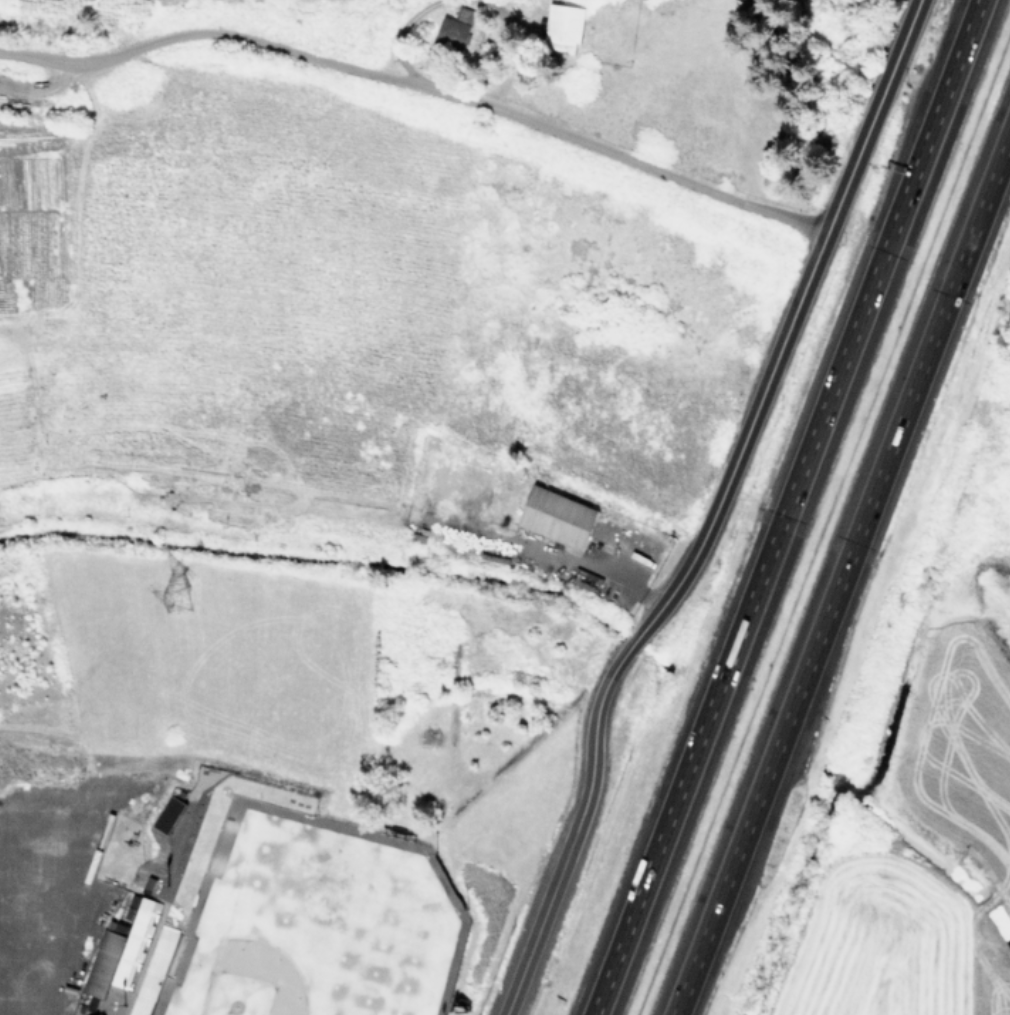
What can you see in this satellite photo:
building: (455, 28)
road: (420, 83)
road: (825, 233)
road: (786, 507)
building: (557, 517)
road: (694, 554)
road: (841, 573)
road: (624, 585)
power tower: (176, 599)
road: (631, 643)
crop: (934, 808)
building: (167, 815)
road: (573, 836)
road: (40, 849)
road: (76, 867)
parking lot: (66, 877)
road: (34, 892)
building: (132, 906)
stadium: (276, 913)
park: (312, 922)
road: (28, 938)
building: (102, 962)
building: (123, 974)
road: (24, 976)
building: (98, 1014)
building: (102, 1014)

